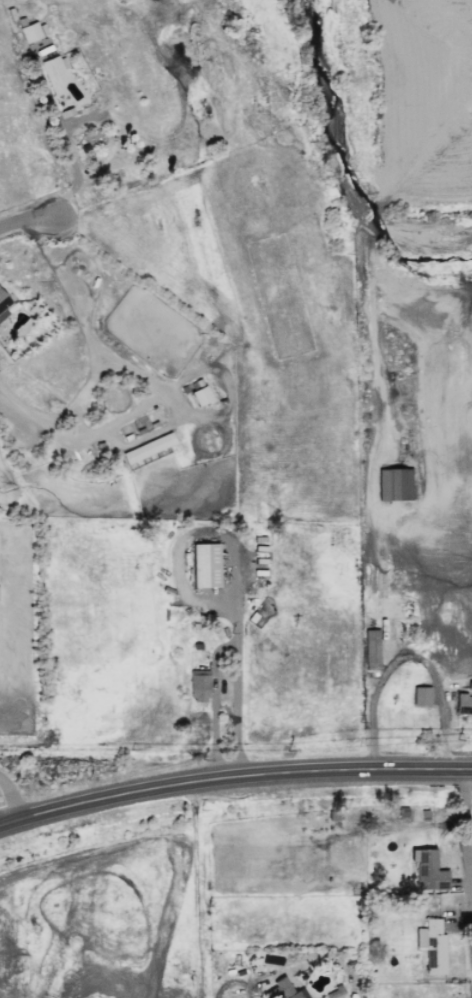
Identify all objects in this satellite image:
building: (30, 32)
building: (52, 75)
road: (72, 173)
road: (28, 223)
building: (4, 305)
road: (142, 378)
building: (198, 396)
building: (147, 448)
building: (393, 484)
building: (204, 565)
road: (386, 590)
building: (370, 650)
road: (213, 655)
road: (409, 656)
building: (198, 685)
building: (420, 696)
building: (464, 701)
road: (236, 710)
road: (239, 778)
road: (6, 804)
road: (463, 823)
road: (6, 824)
building: (429, 872)
building: (432, 946)
building: (283, 990)

